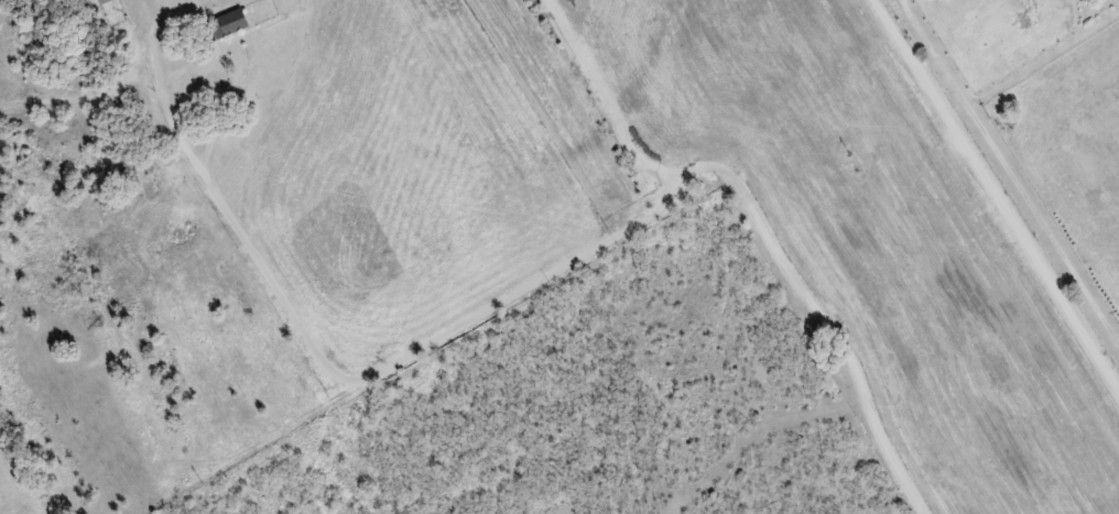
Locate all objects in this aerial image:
building: (101, 1)
building: (230, 22)
road: (680, 436)

